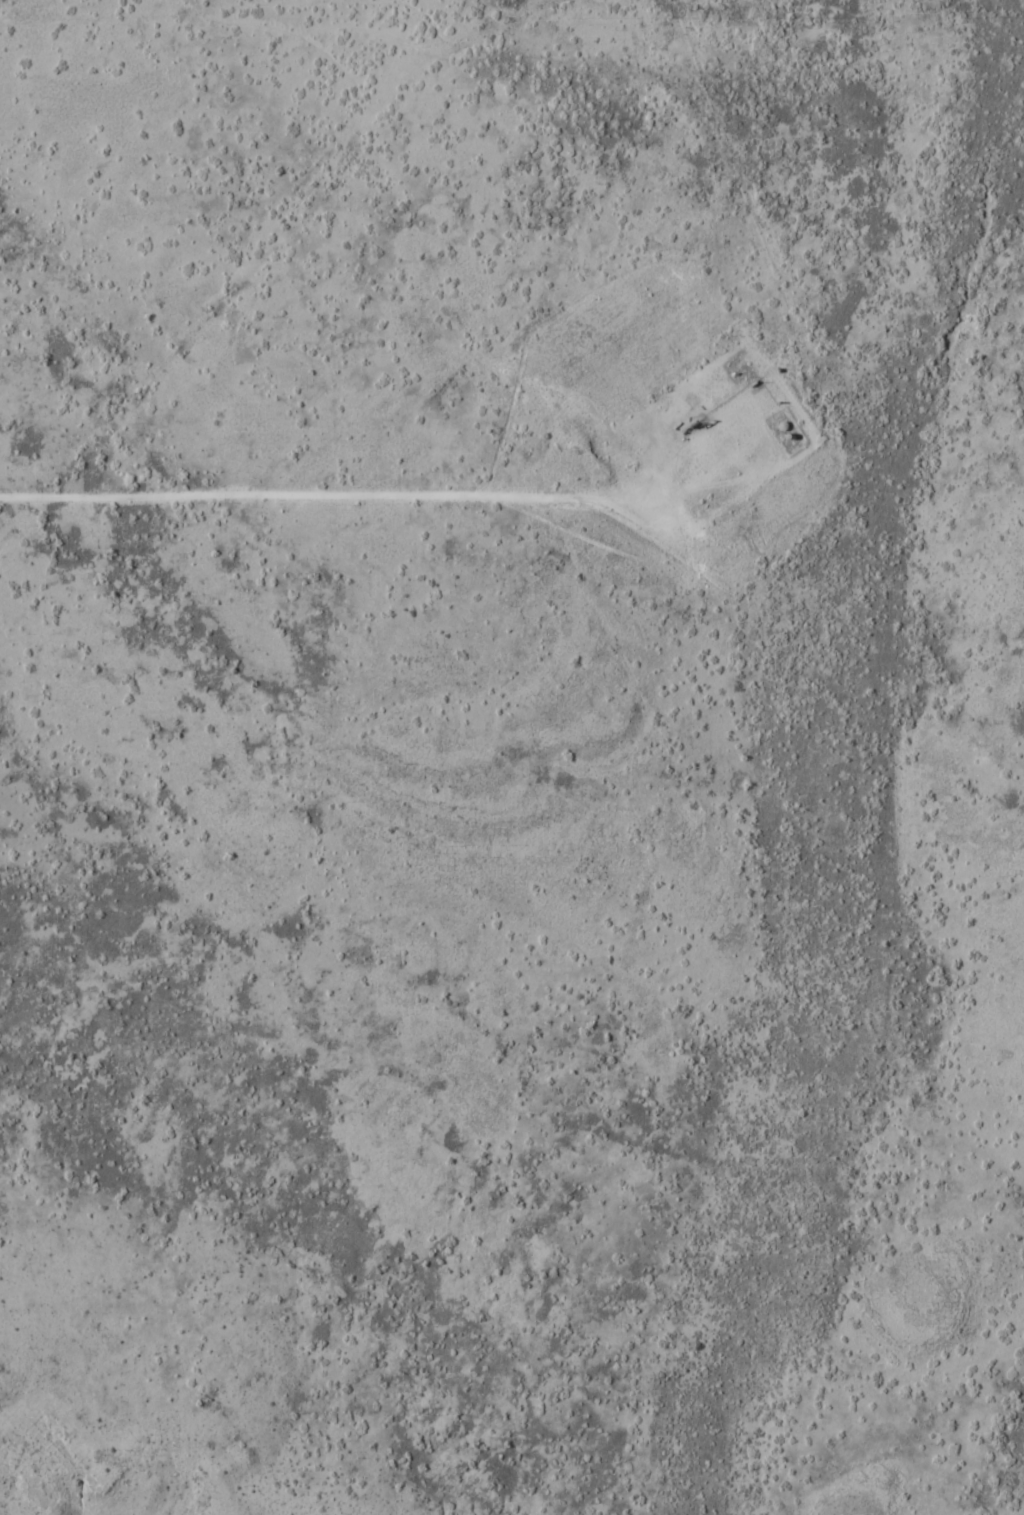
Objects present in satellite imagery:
road: (421, 506)

